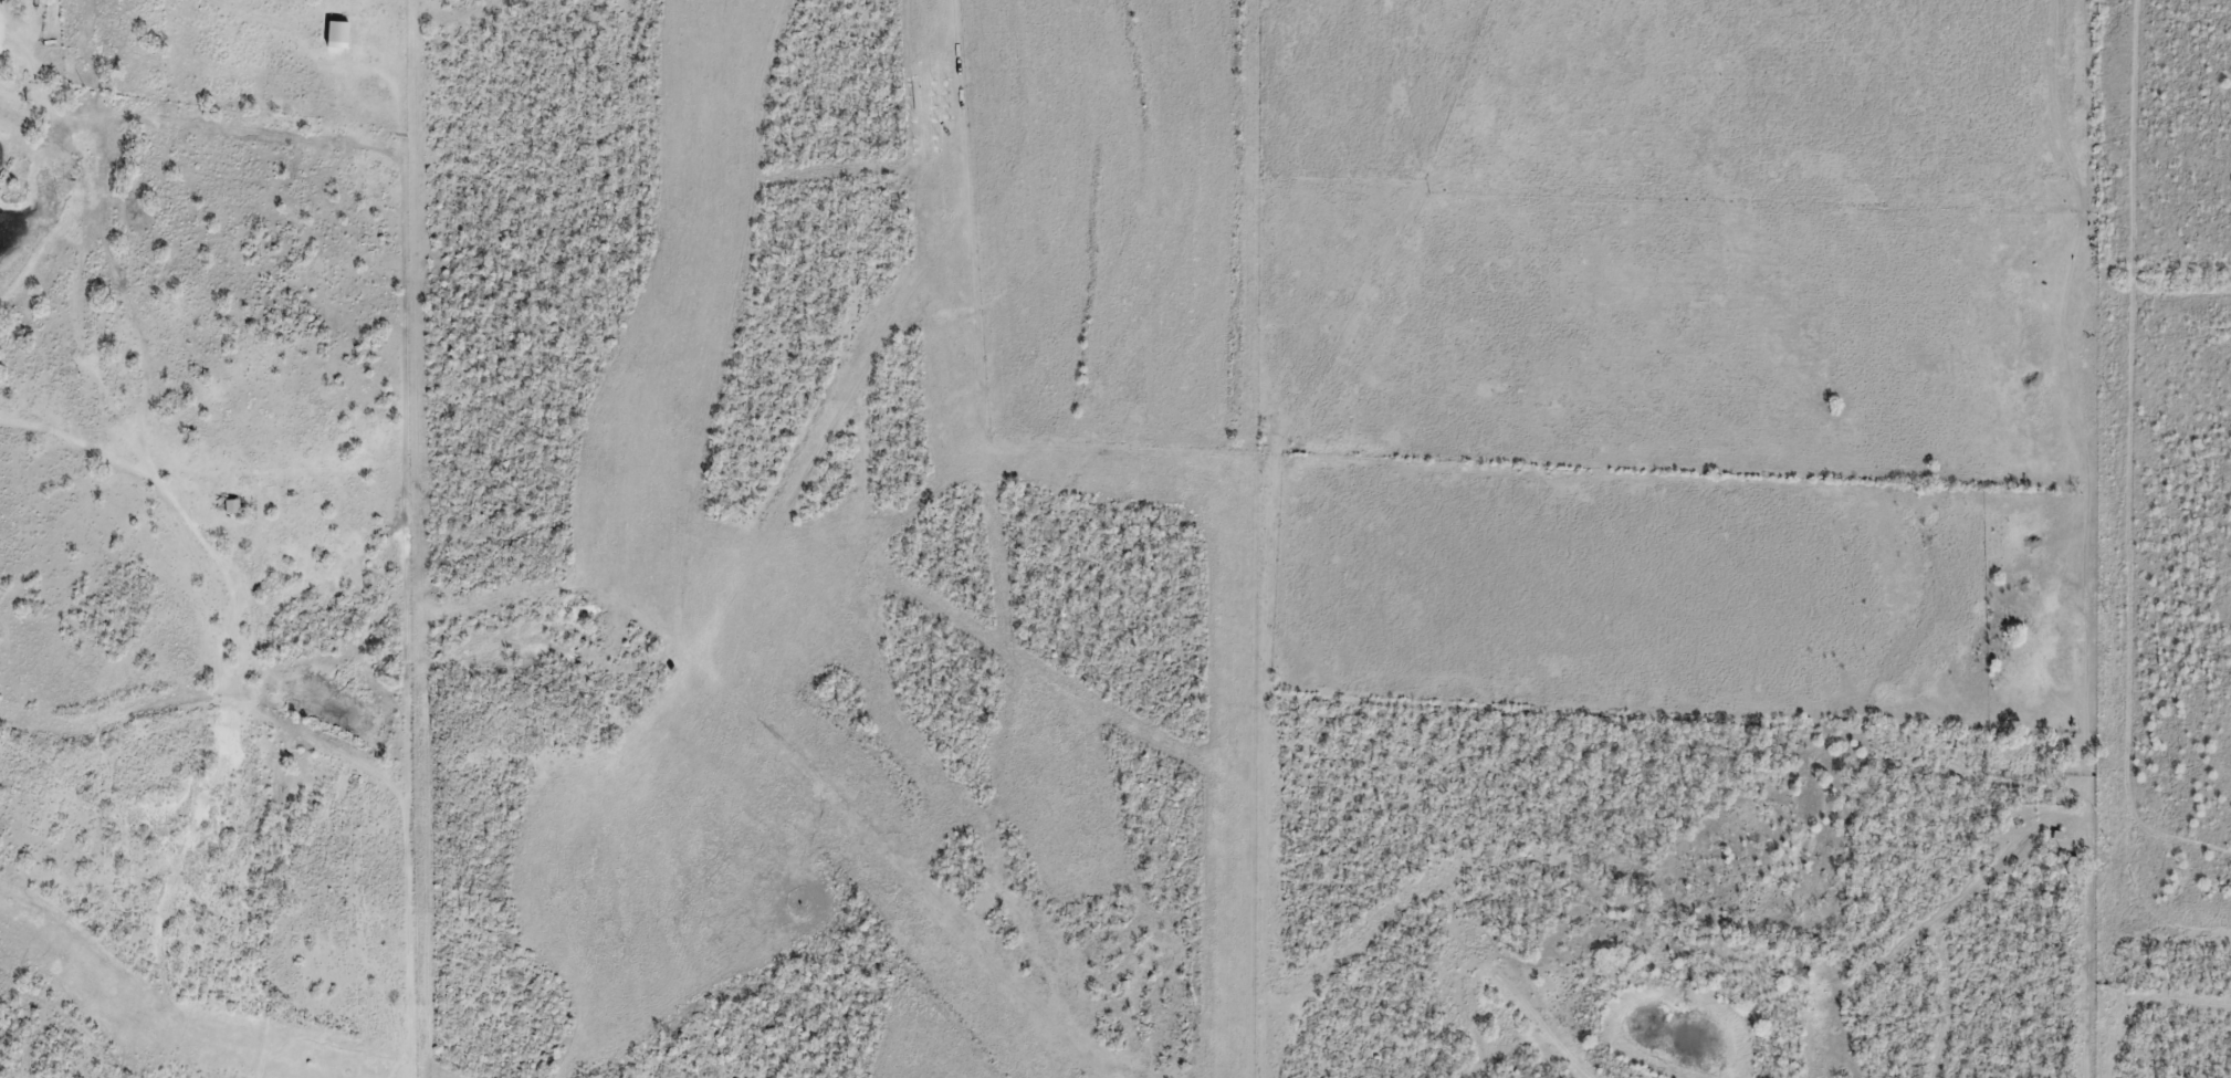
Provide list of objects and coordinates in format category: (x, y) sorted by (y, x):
building: (338, 34)
building: (2071, 866)

